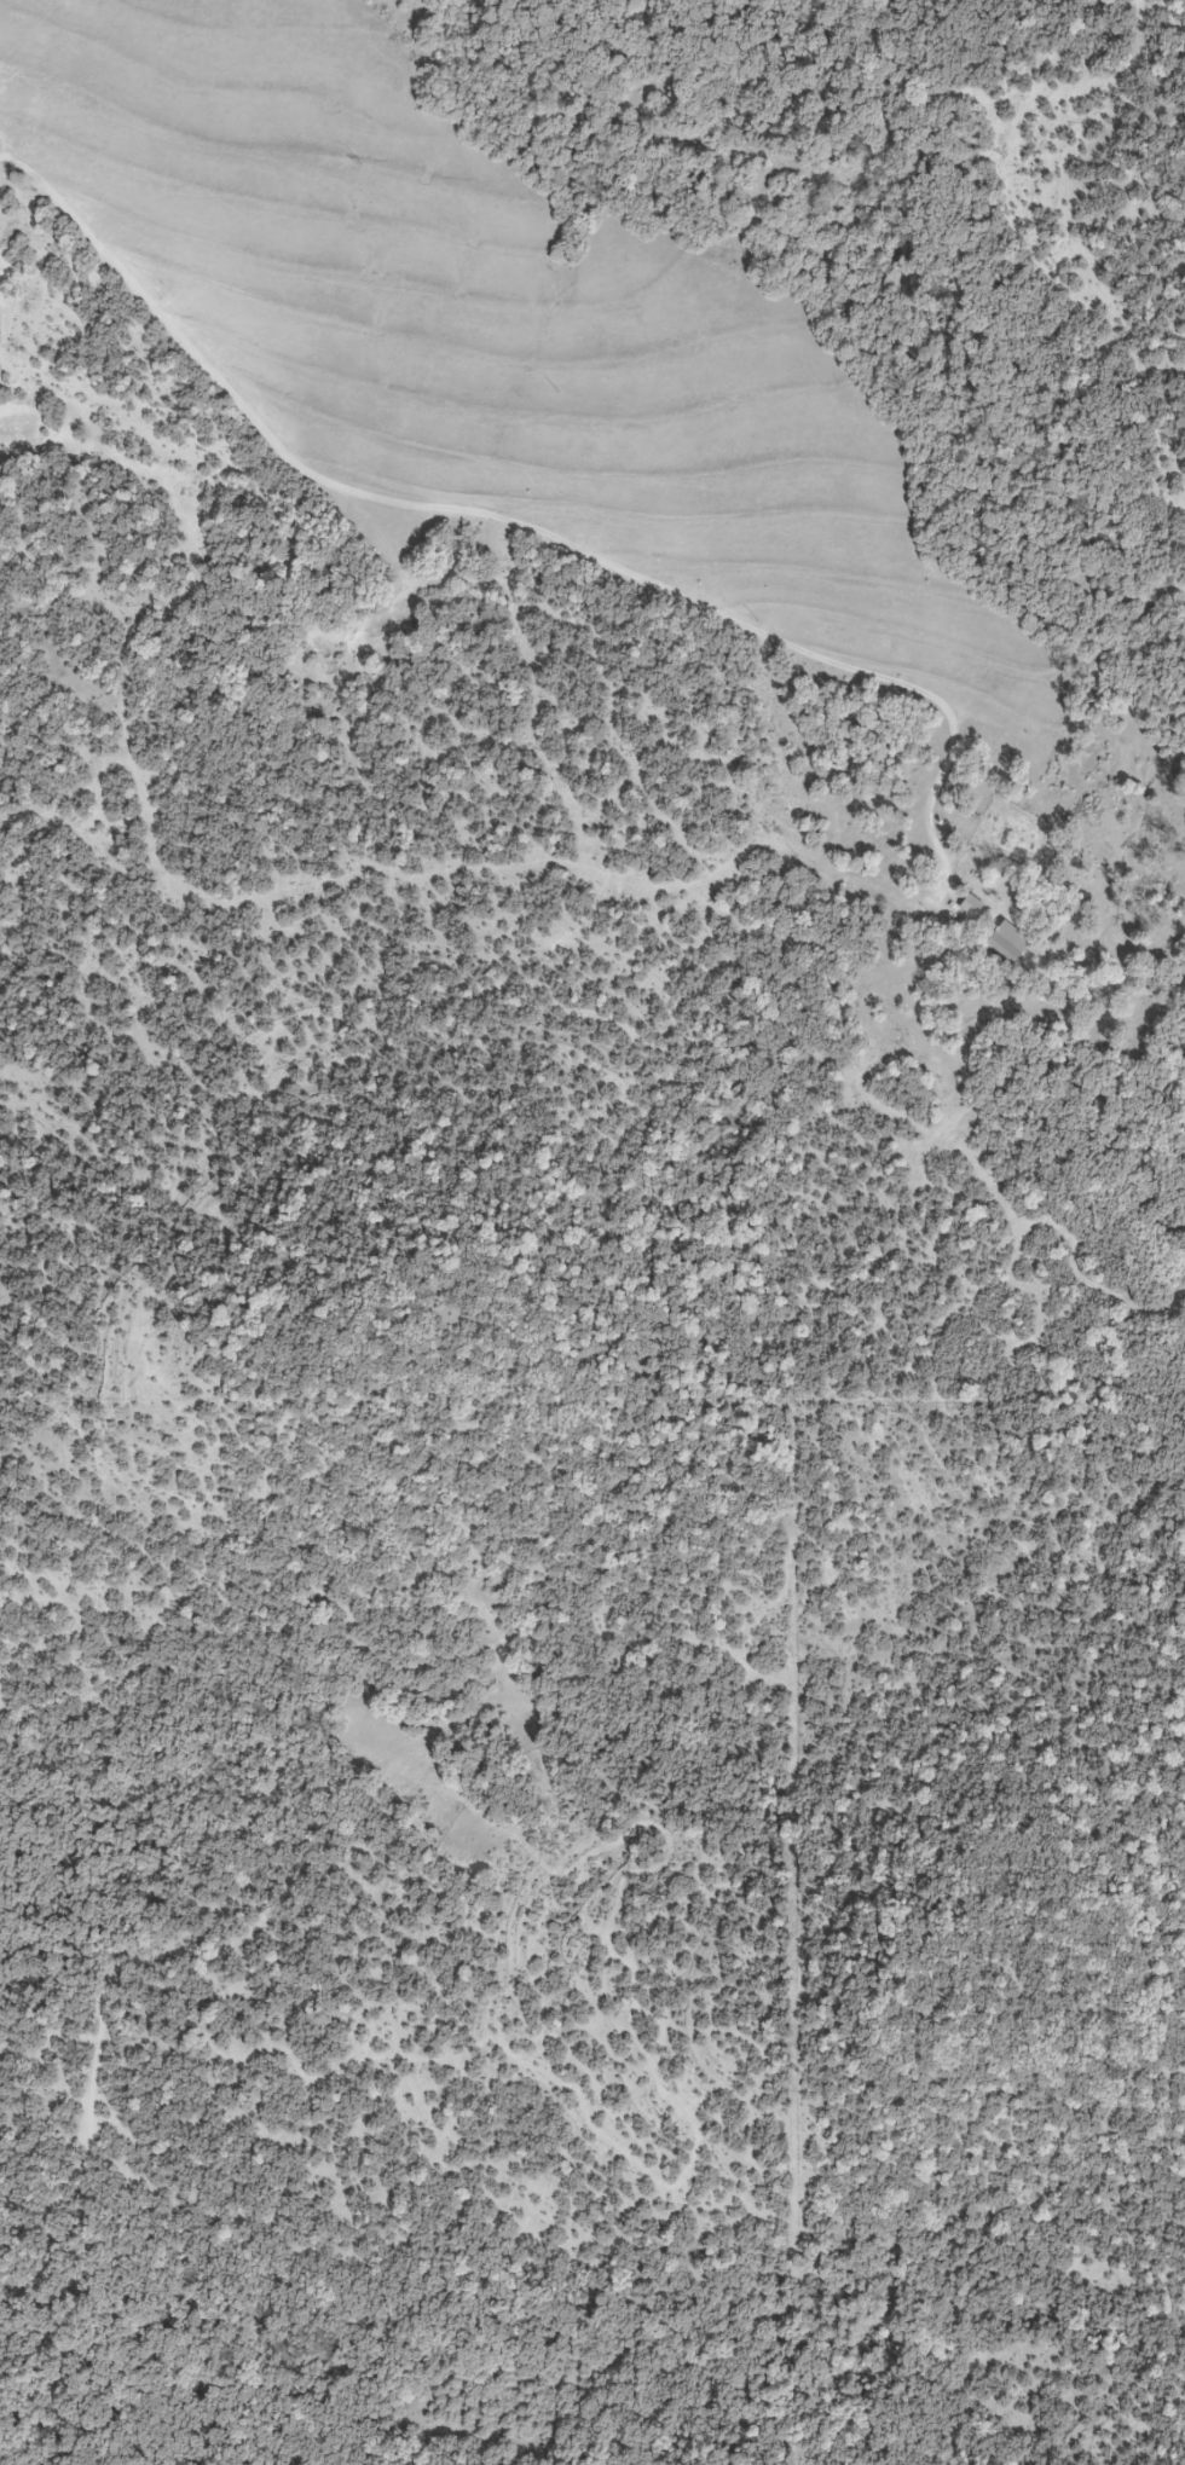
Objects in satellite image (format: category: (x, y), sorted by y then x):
building: (971, 905)
building: (1007, 942)

